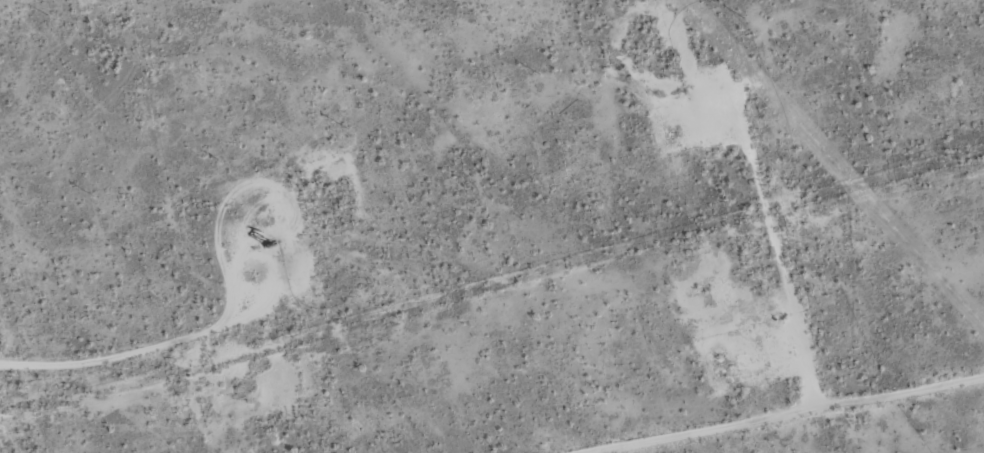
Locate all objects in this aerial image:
road: (729, 401)
road: (10, 423)

